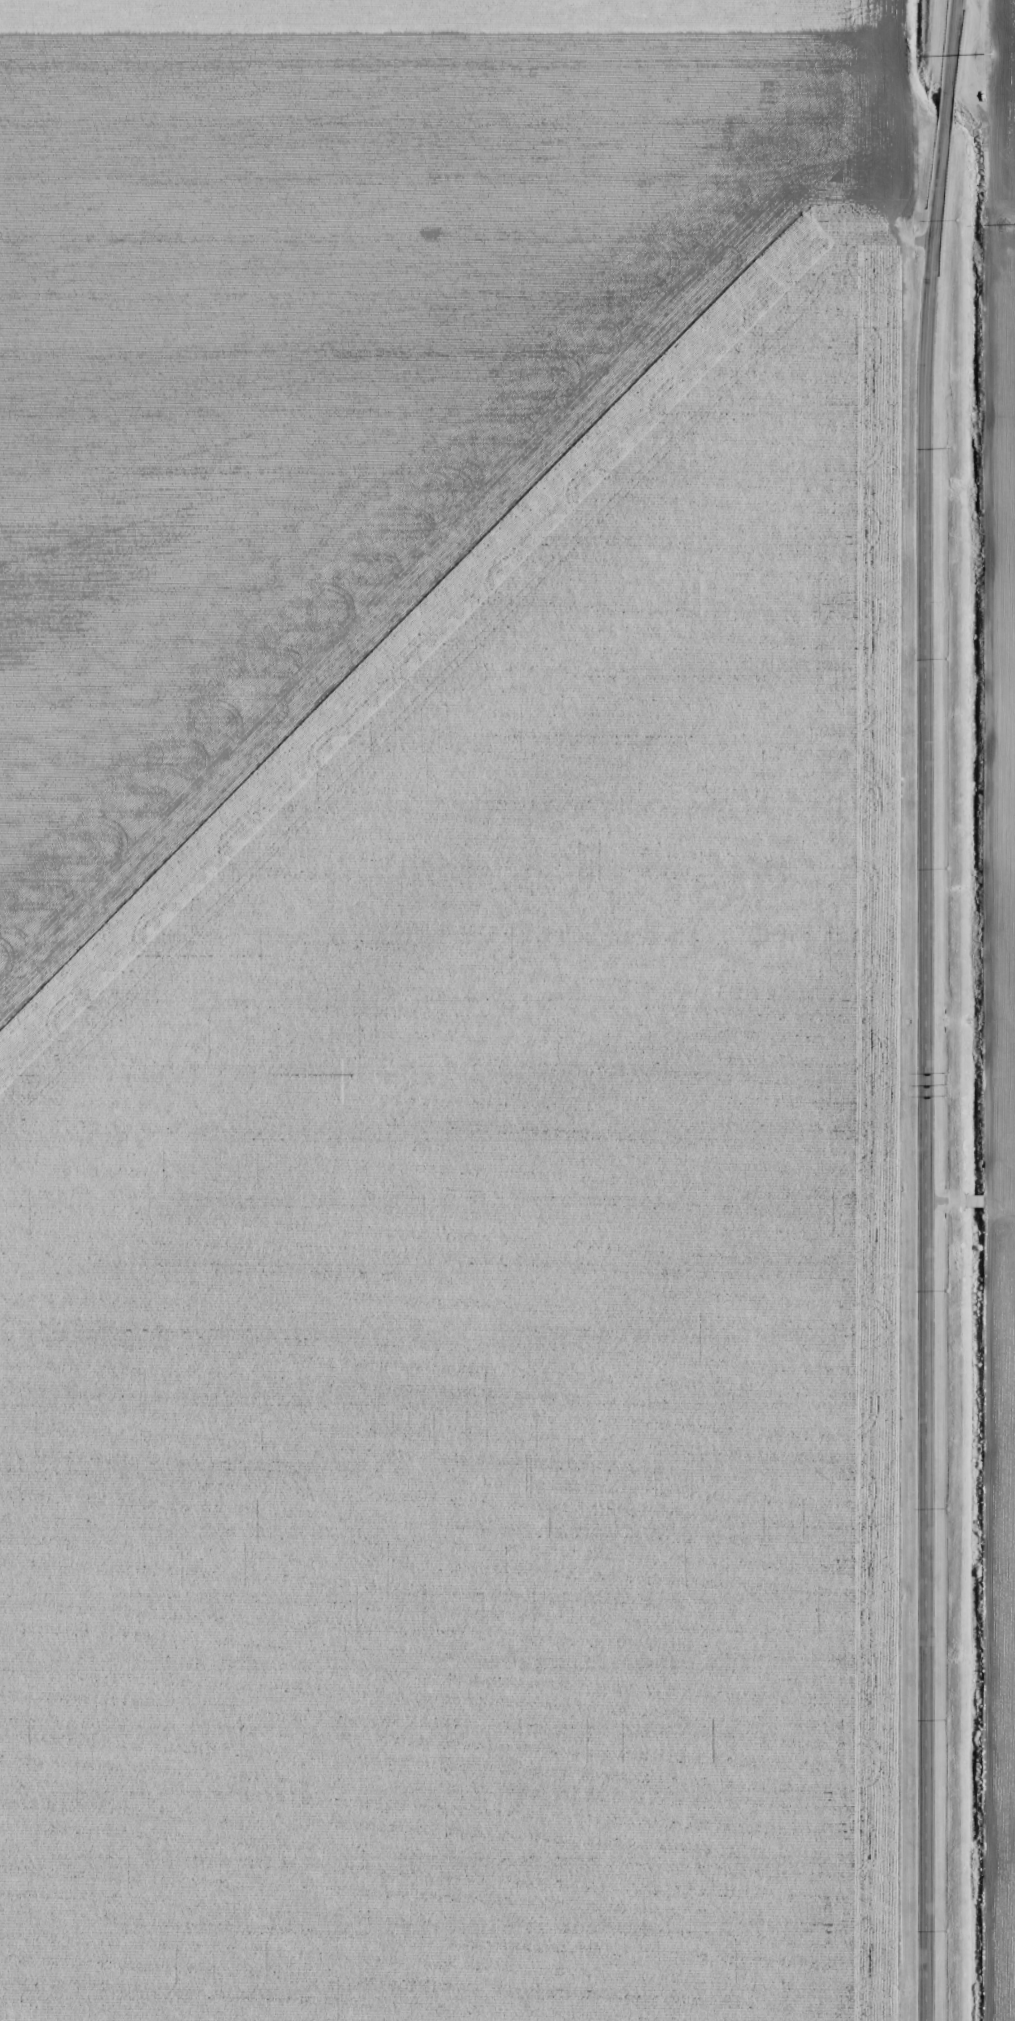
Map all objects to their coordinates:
power tower: (993, 49)
road: (927, 1009)

